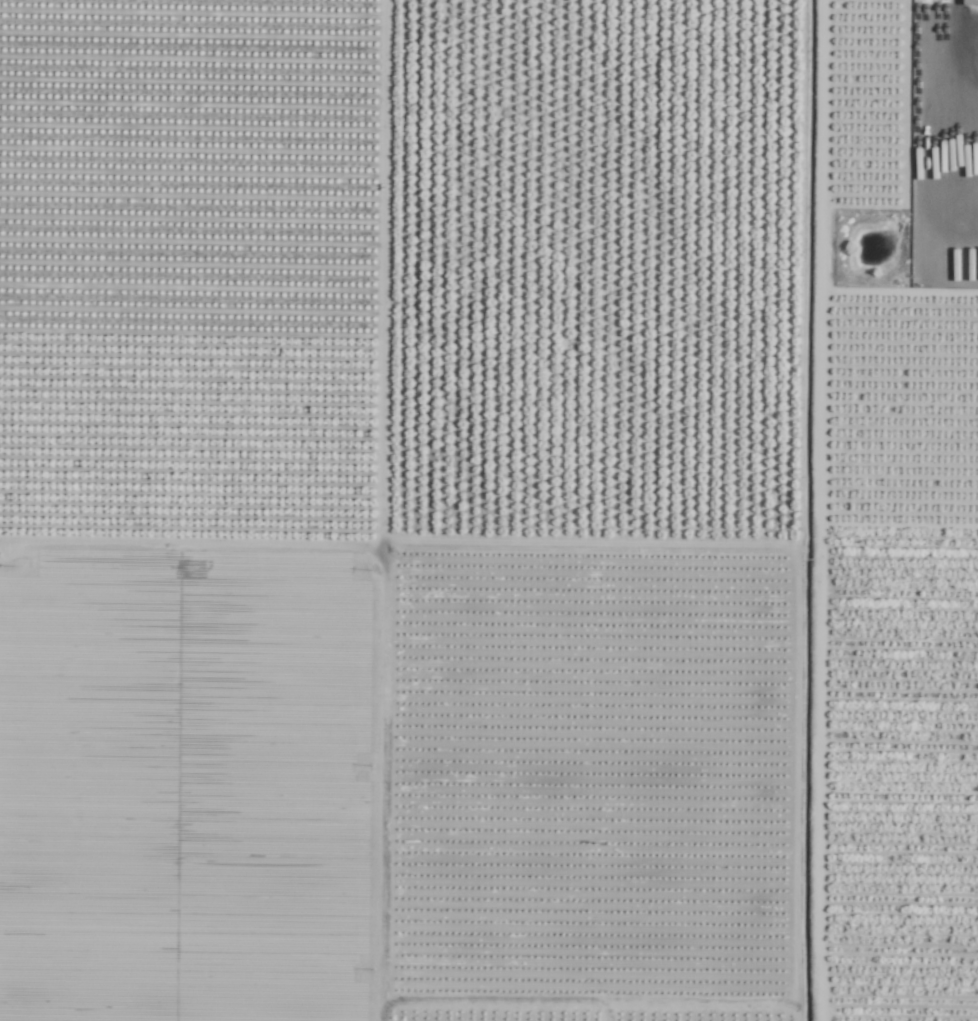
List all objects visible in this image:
building: (970, 2)

